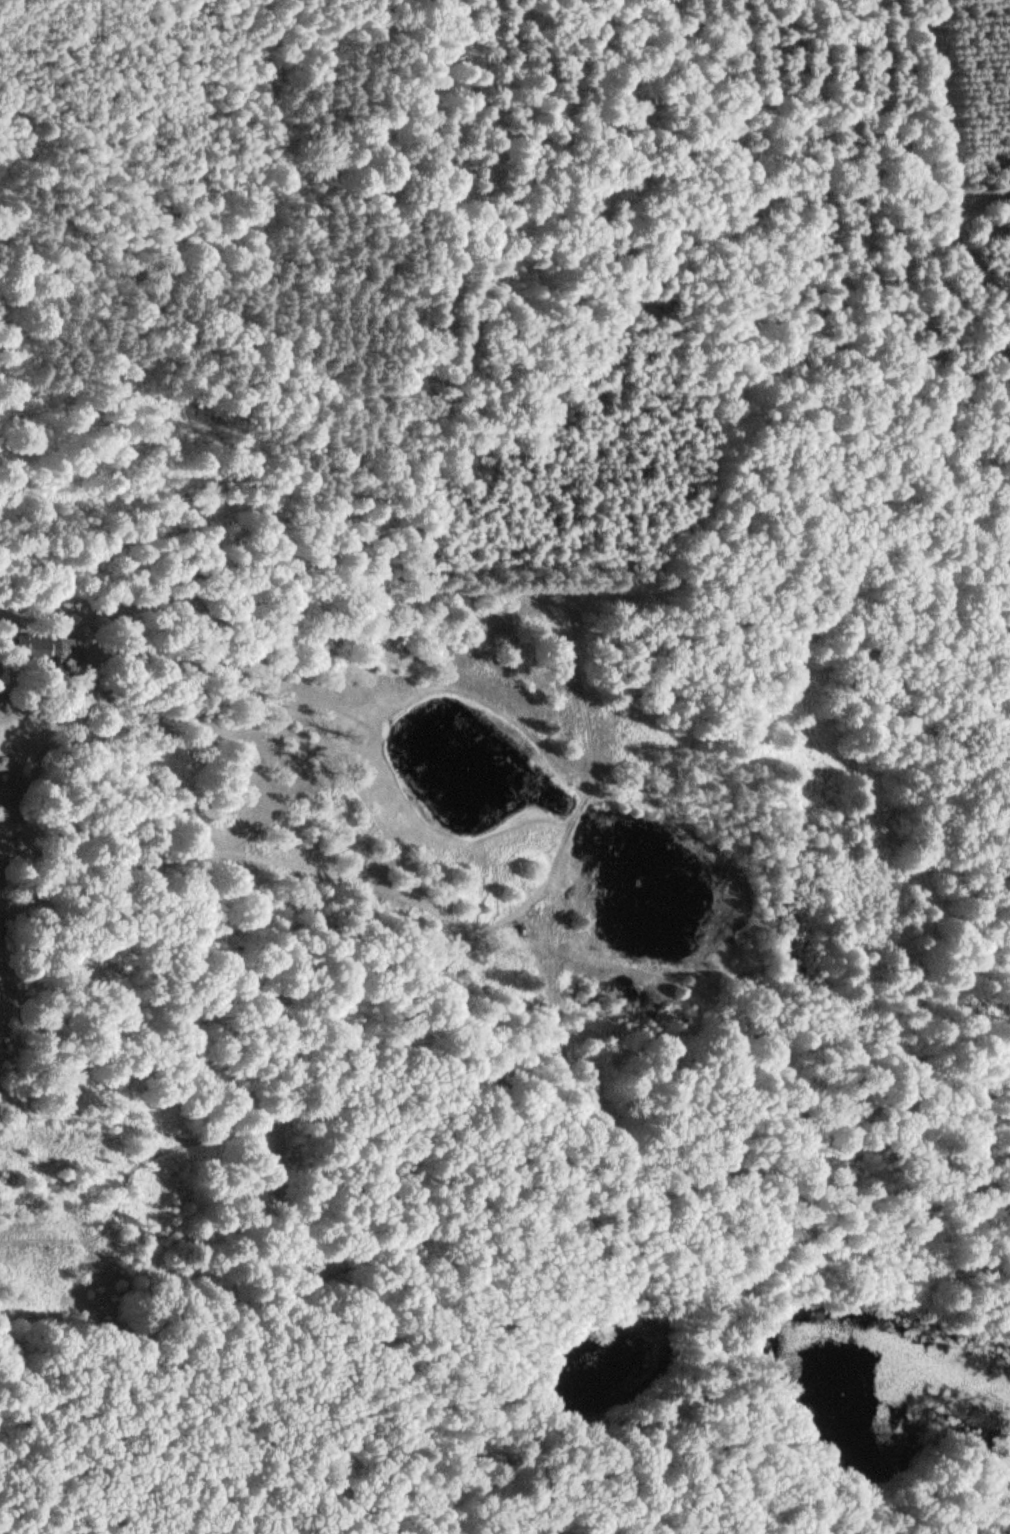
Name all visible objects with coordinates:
road: (943, 125)
road: (69, 608)
building: (48, 652)

